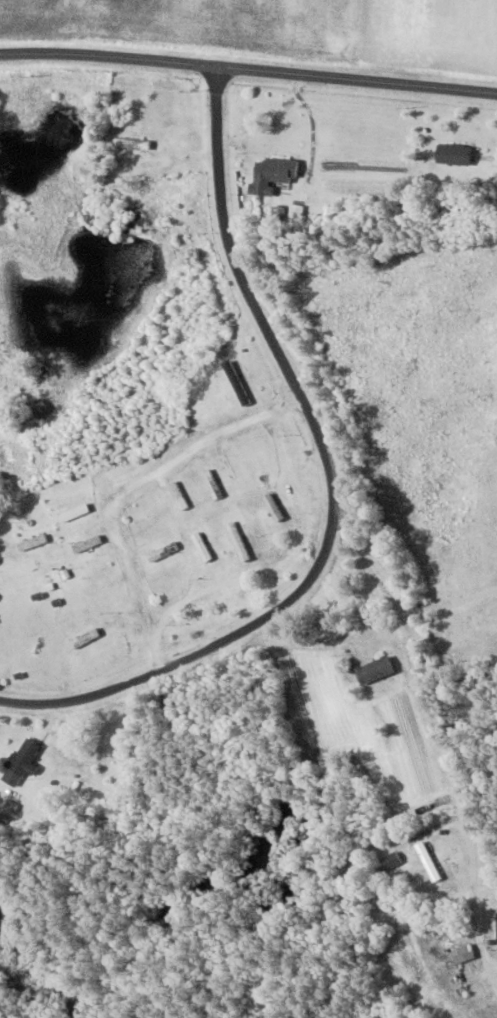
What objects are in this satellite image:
road: (249, 65)
building: (129, 142)
building: (453, 154)
building: (273, 174)
building: (296, 212)
building: (212, 484)
road: (335, 485)
building: (179, 495)
building: (273, 507)
building: (75, 512)
building: (148, 522)
building: (238, 541)
building: (33, 542)
building: (88, 544)
building: (202, 547)
building: (162, 552)
building: (99, 575)
building: (85, 638)
building: (375, 670)
road: (431, 737)
building: (21, 762)
building: (429, 861)
building: (463, 953)

